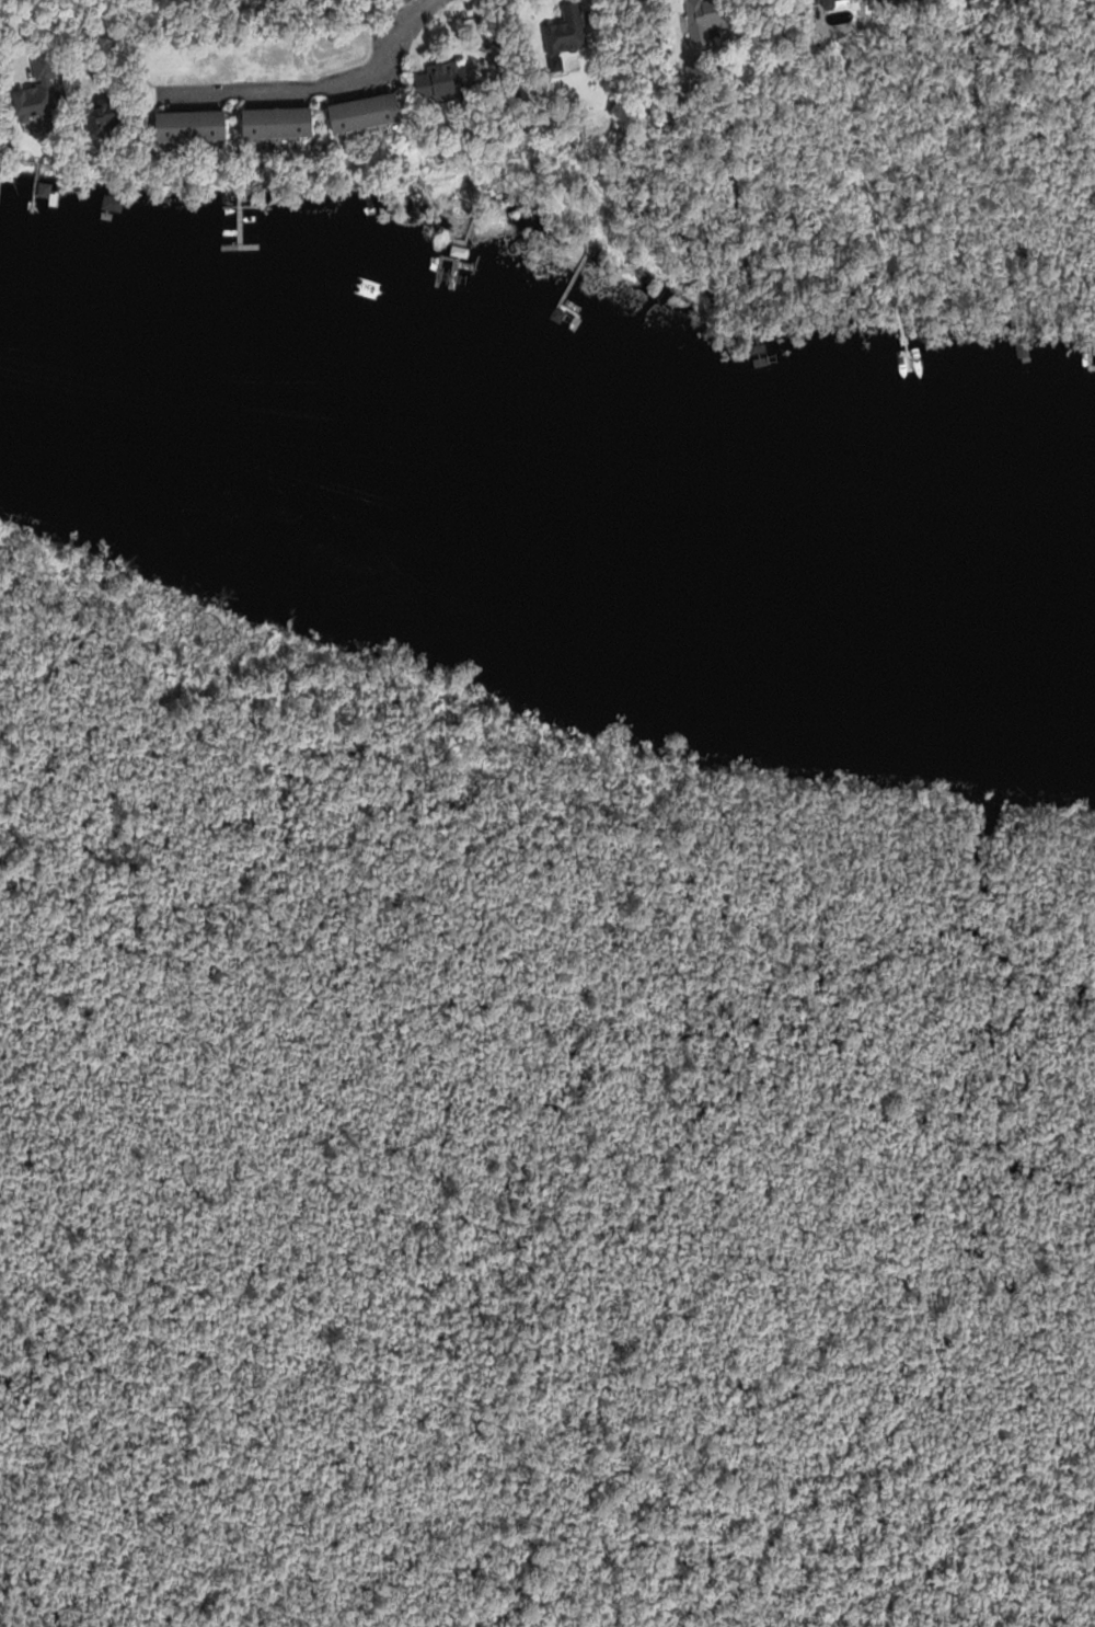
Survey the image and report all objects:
road: (410, 14)
road: (82, 15)
road: (19, 20)
building: (708, 26)
building: (566, 32)
building: (31, 81)
building: (446, 83)
road: (296, 89)
building: (107, 111)
building: (367, 113)
building: (279, 123)
building: (193, 126)
building: (112, 204)
building: (1022, 348)
river: (545, 474)

